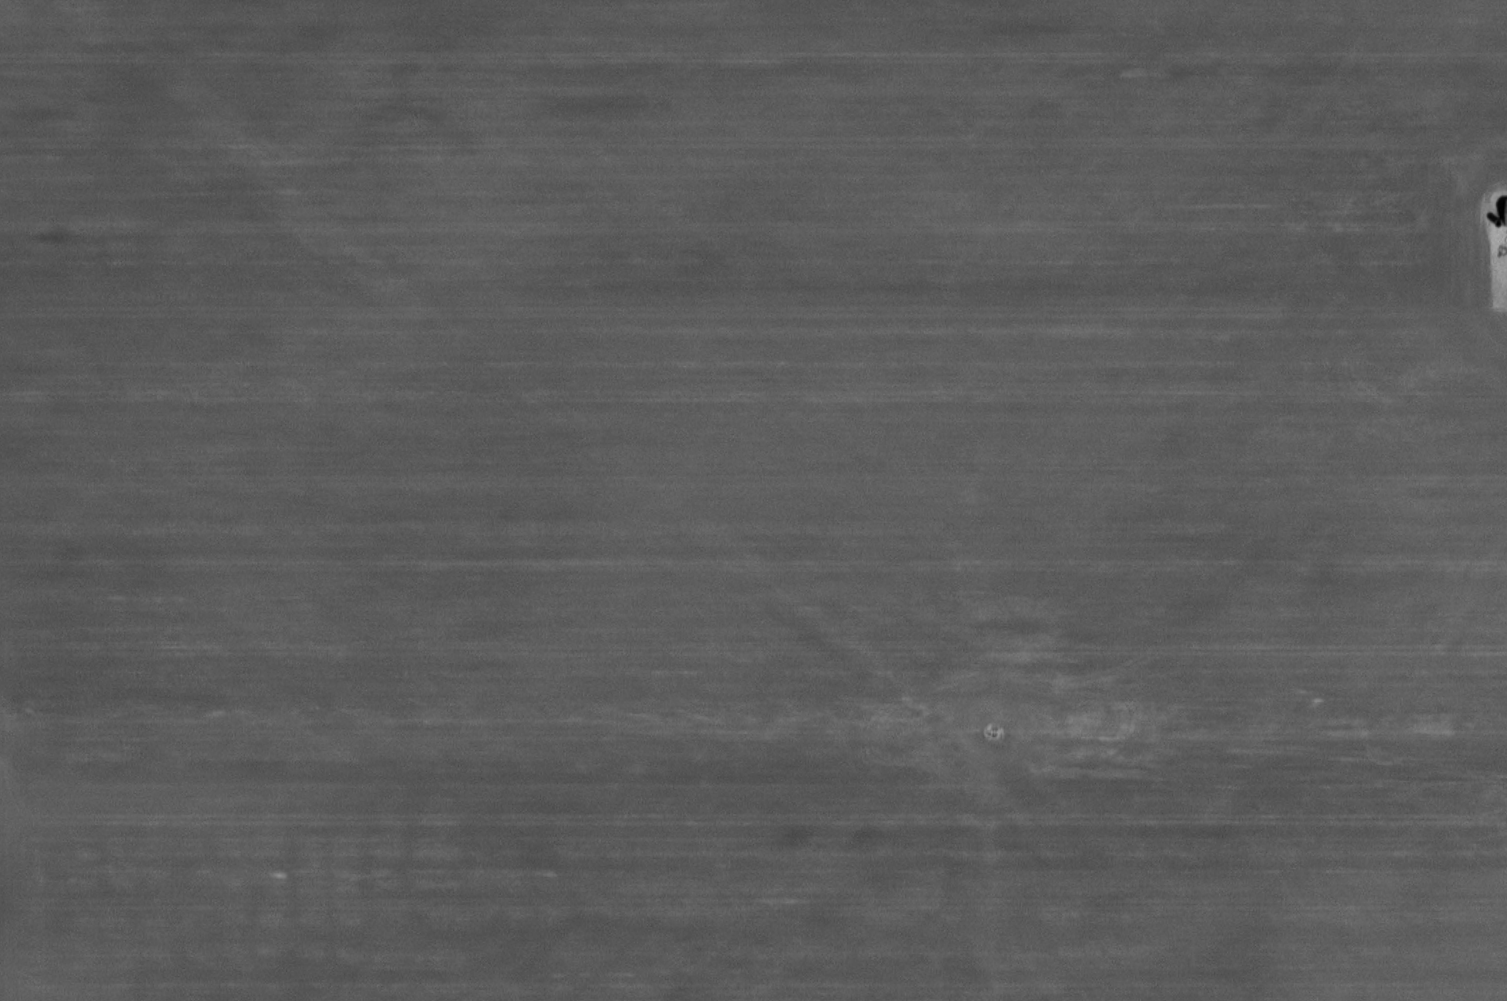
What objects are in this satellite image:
building: (1502, 212)

